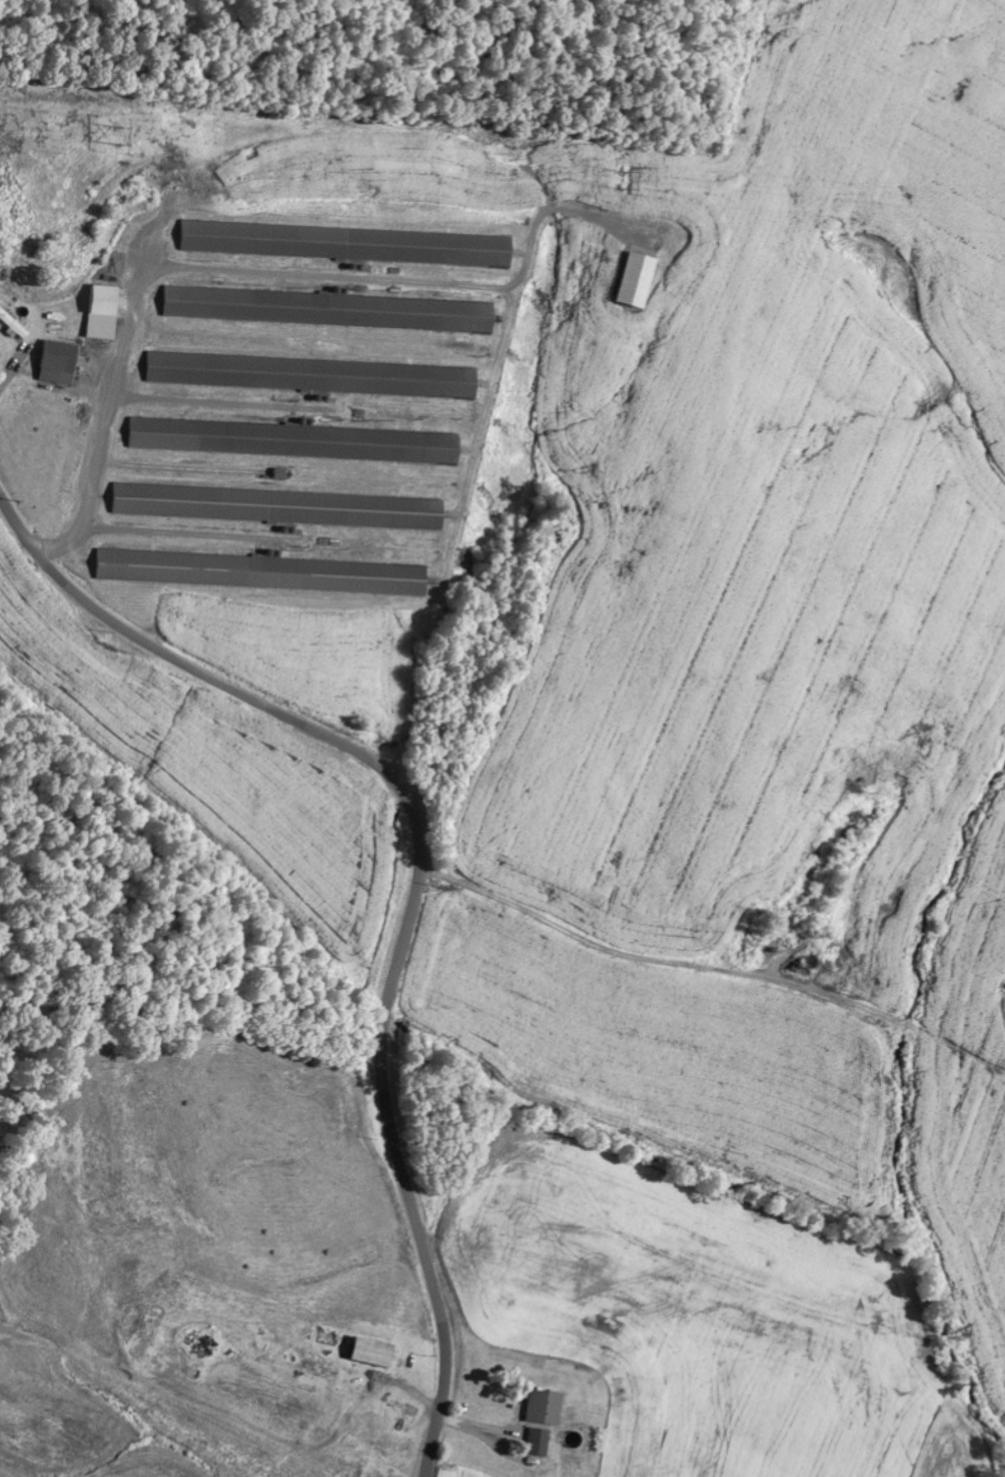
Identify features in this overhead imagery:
power tower: (116, 137)
power tower: (621, 180)
building: (344, 243)
building: (633, 280)
building: (327, 309)
building: (100, 312)
building: (56, 362)
building: (309, 375)
building: (292, 440)
building: (276, 506)
building: (259, 572)
road: (418, 884)
building: (368, 1351)
building: (541, 1406)
building: (536, 1441)

